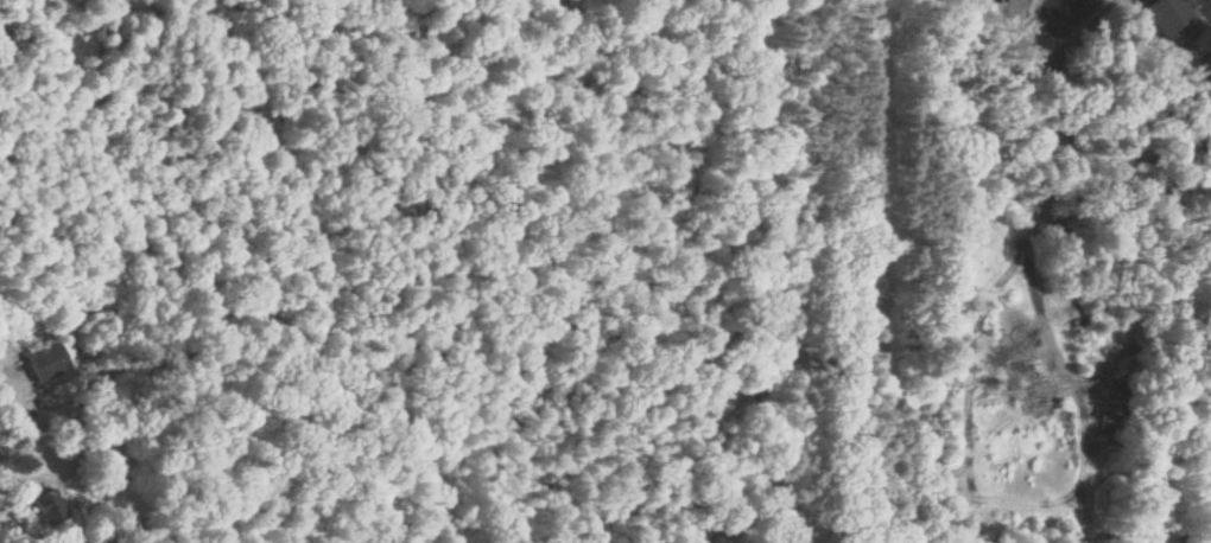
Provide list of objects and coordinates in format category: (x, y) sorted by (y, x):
building: (1168, 21)
building: (47, 362)
road: (19, 473)
building: (47, 506)

